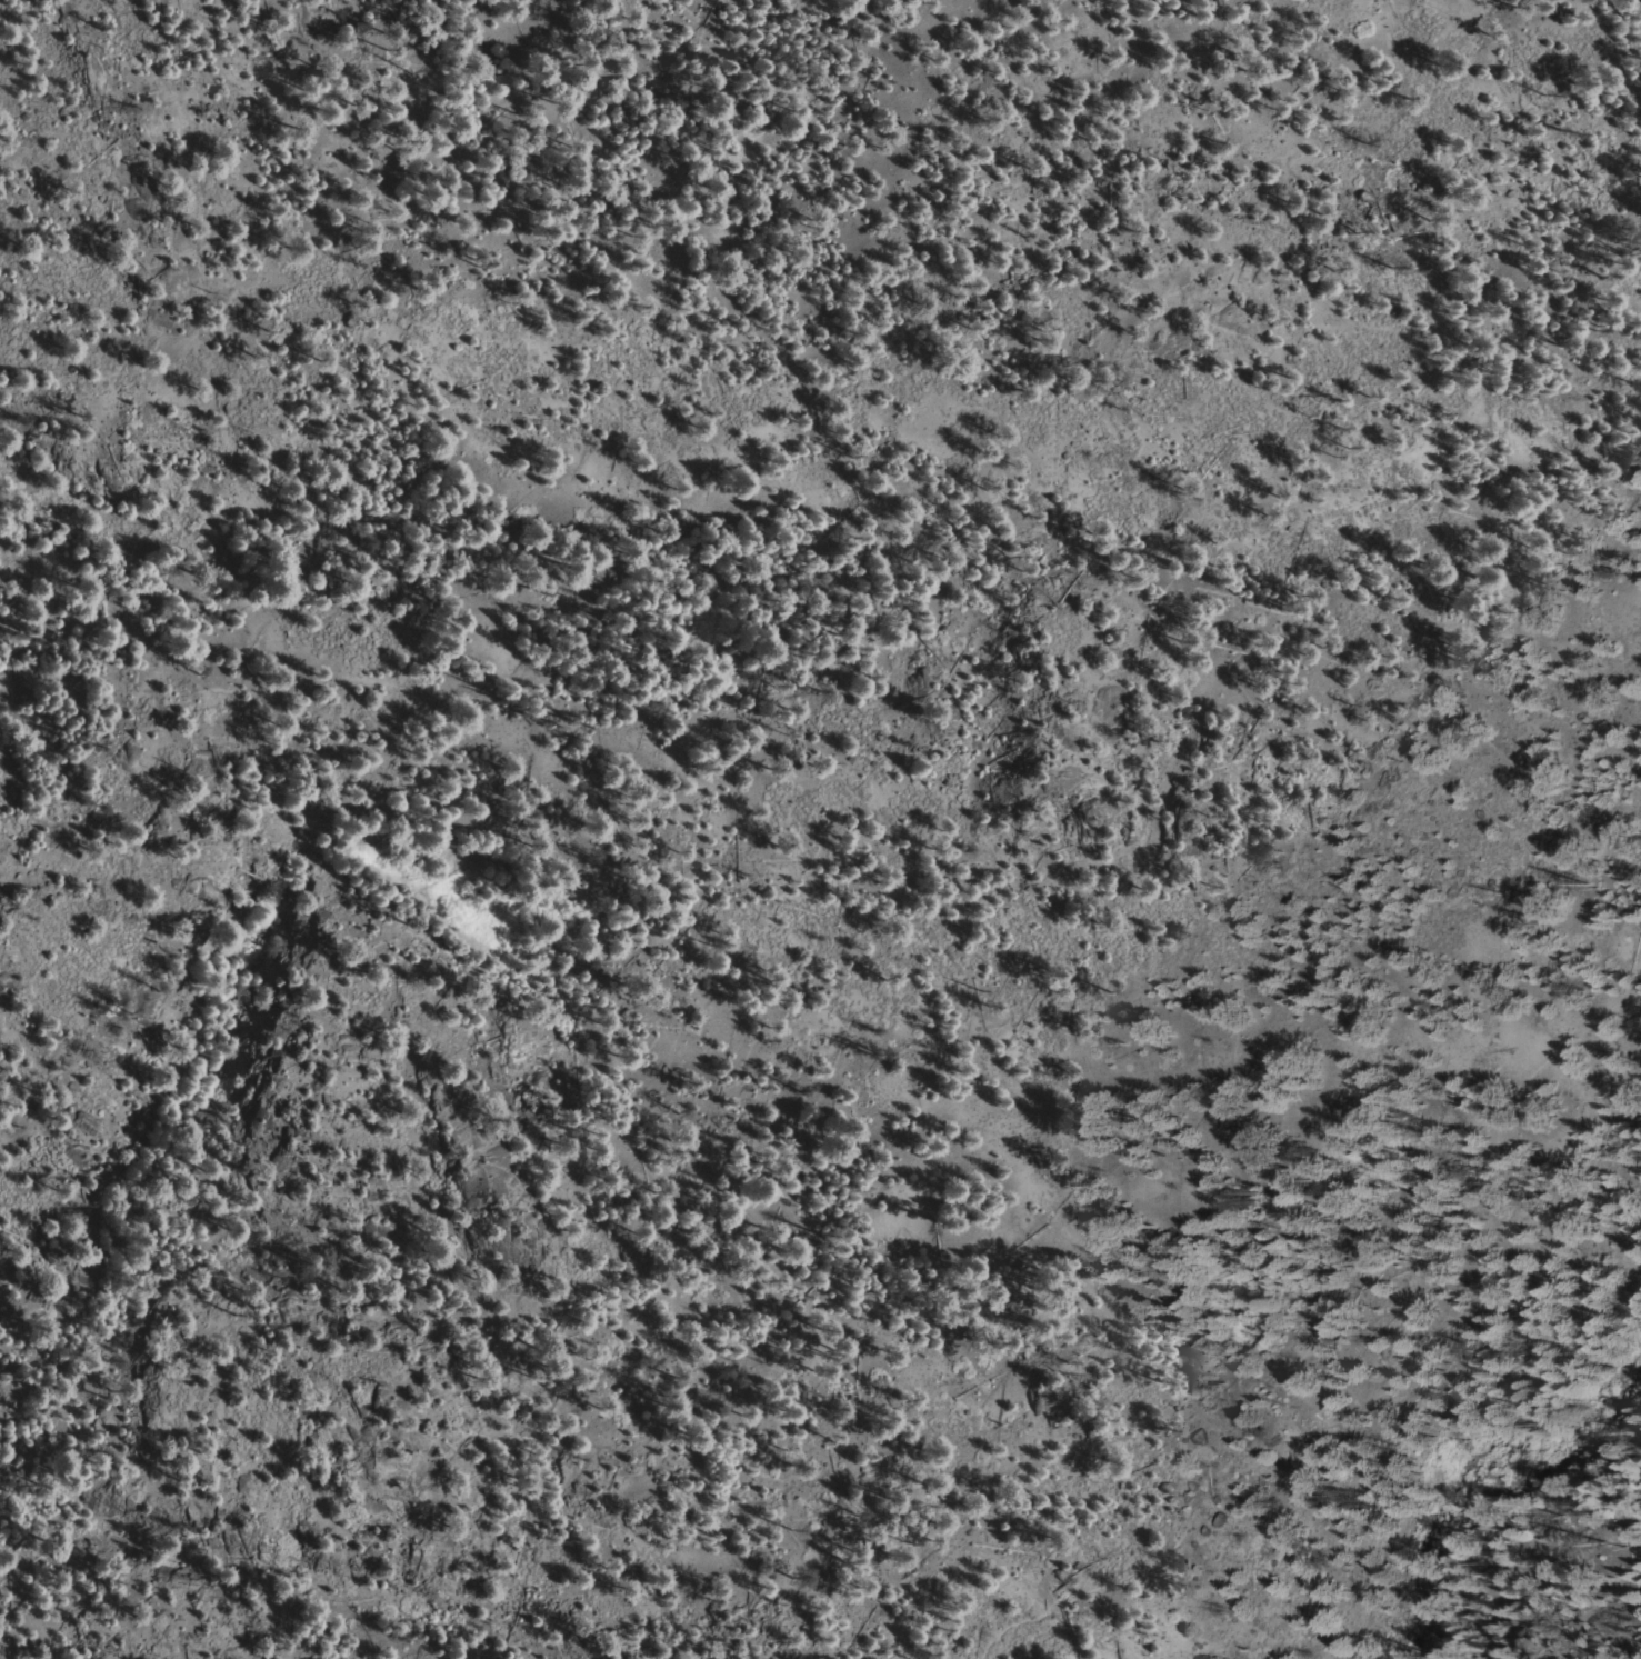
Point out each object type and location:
road: (1319, 1329)

